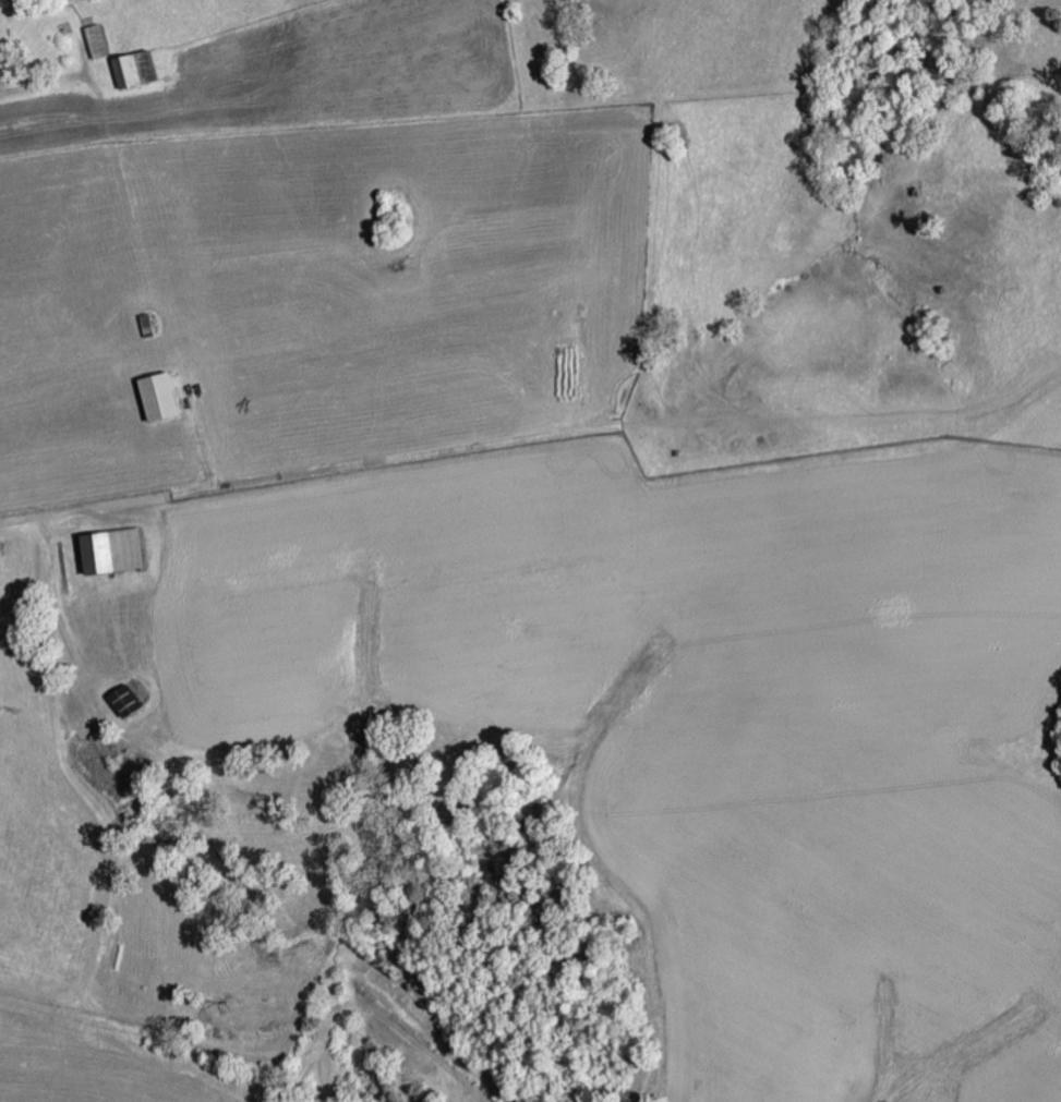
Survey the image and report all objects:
building: (97, 40)
building: (135, 68)
road: (2, 88)
building: (159, 396)
building: (112, 550)
building: (124, 700)

